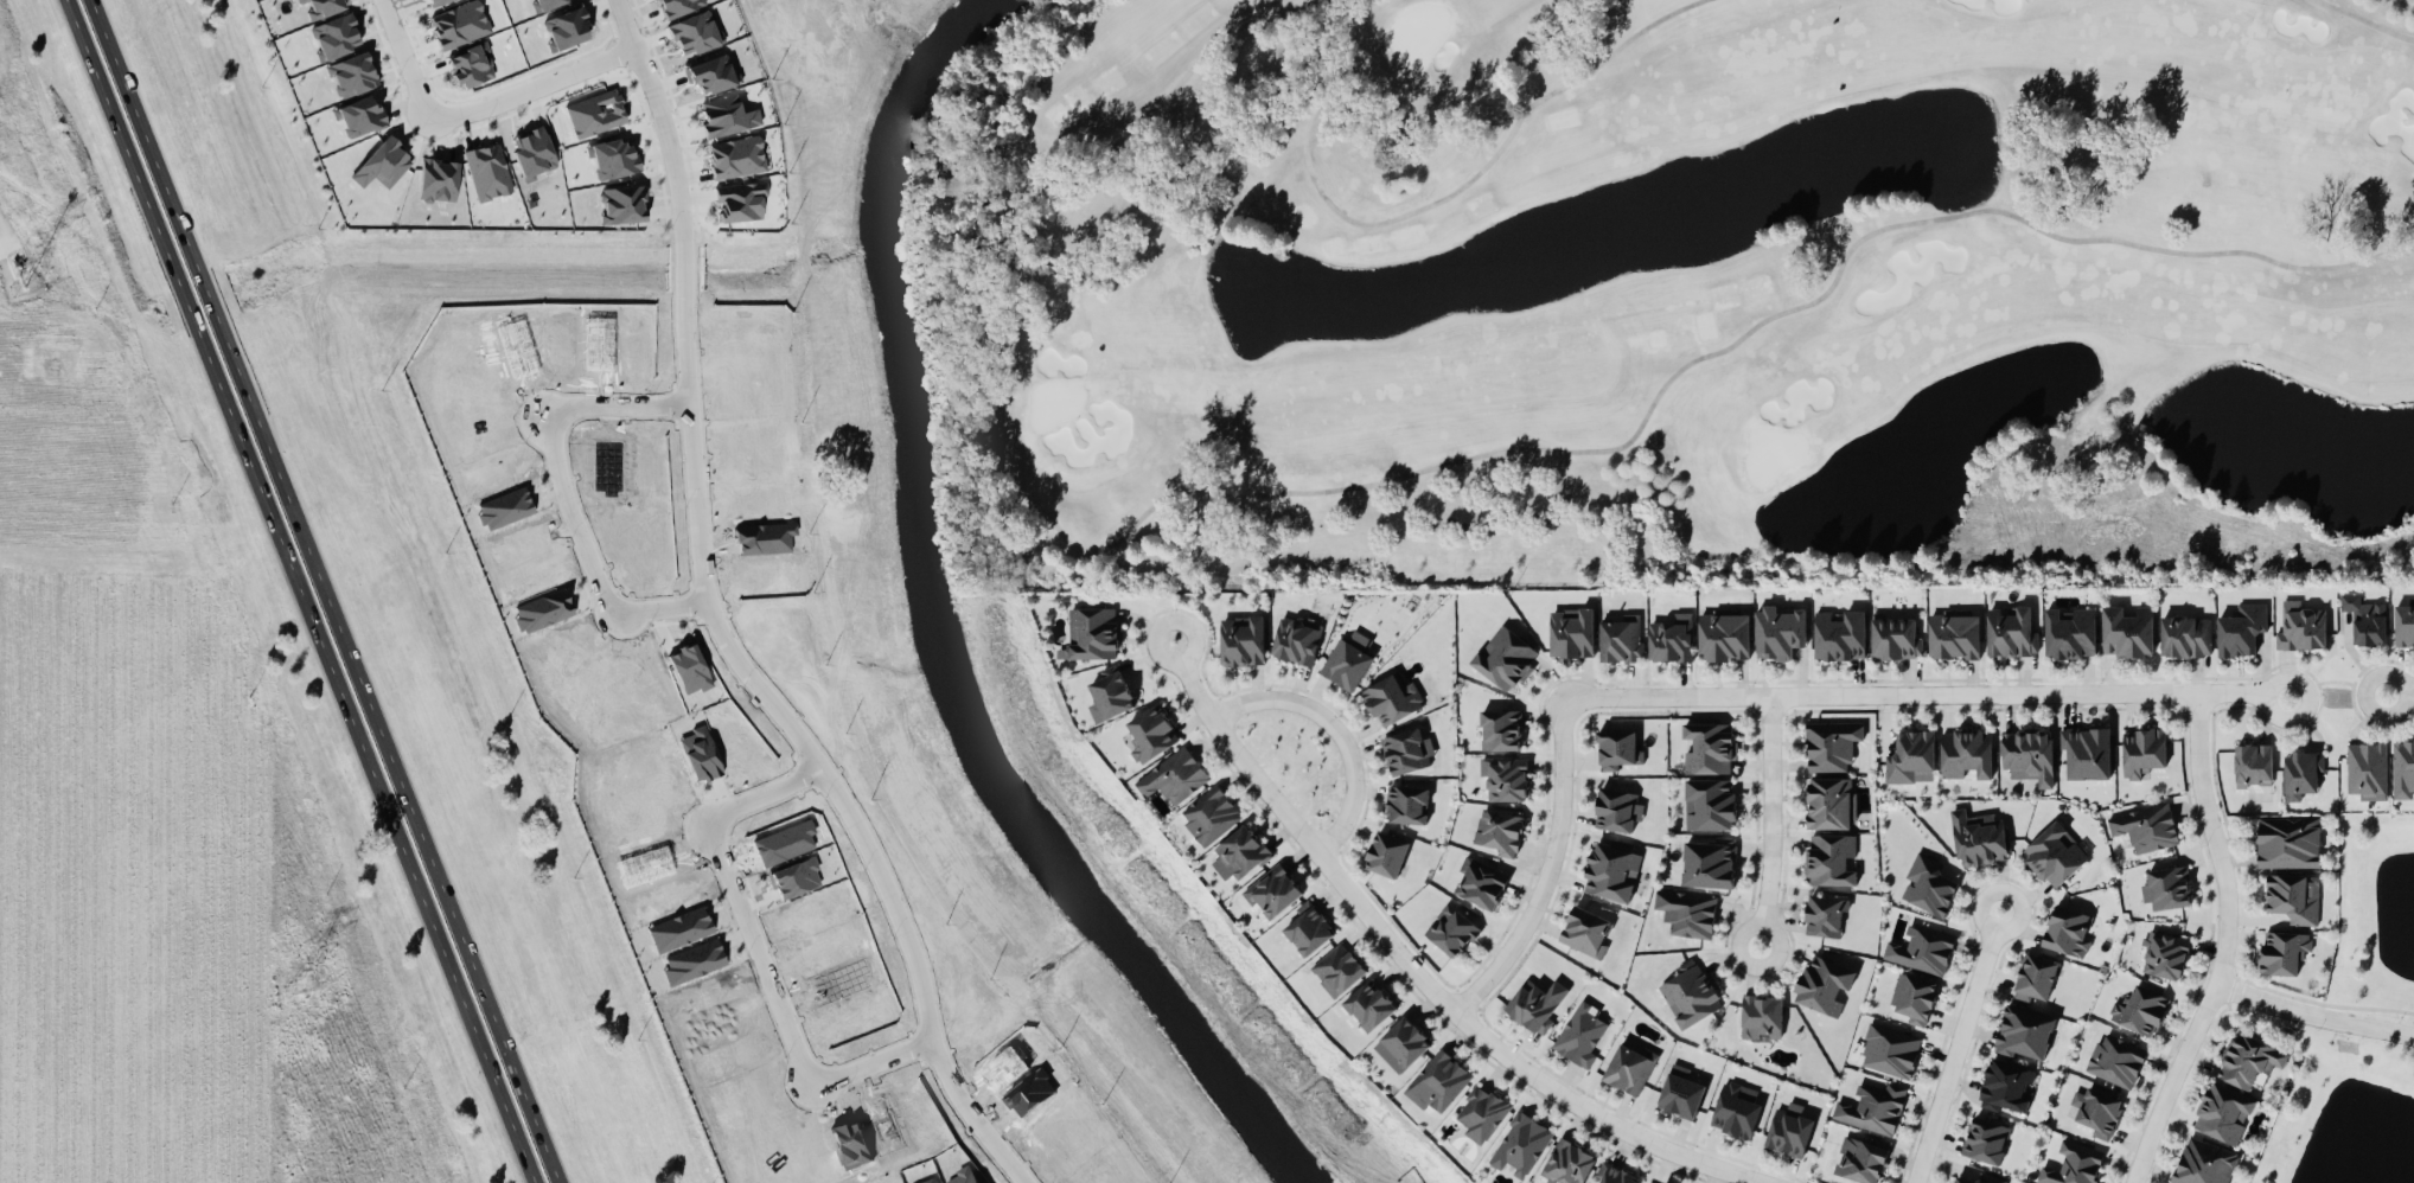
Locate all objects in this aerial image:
building: (434, 1)
building: (545, 2)
building: (321, 6)
building: (676, 6)
building: (458, 23)
building: (692, 32)
building: (334, 34)
building: (470, 64)
building: (710, 72)
building: (351, 73)
crop: (12, 88)
road: (477, 108)
building: (594, 113)
building: (357, 114)
building: (531, 152)
building: (735, 155)
building: (487, 170)
building: (436, 179)
building: (739, 199)
building: (620, 203)
power tower: (21, 284)
park: (1679, 294)
road: (568, 494)
road: (305, 591)
road: (328, 591)
building: (2363, 619)
building: (2403, 625)
road: (719, 627)
building: (2300, 627)
river: (940, 628)
building: (1778, 628)
building: (2240, 628)
building: (2011, 629)
building: (2069, 631)
building: (2126, 631)
building: (1092, 632)
building: (1571, 632)
building: (1723, 633)
building: (1839, 633)
building: (1953, 633)
building: (2184, 634)
building: (1621, 635)
building: (1895, 635)
building: (1296, 638)
building: (1671, 638)
building: (1243, 639)
road: (1154, 642)
building: (1505, 657)
building: (1346, 661)
road: (2335, 678)
road: (2399, 690)
building: (1111, 691)
road: (1924, 695)
building: (1391, 698)
building: (1500, 728)
road: (1330, 730)
building: (1151, 731)
building: (1831, 743)
building: (1707, 746)
building: (1616, 747)
building: (2141, 748)
building: (1406, 749)
building: (2086, 750)
building: (1965, 752)
building: (2029, 753)
building: (1910, 755)
building: (2252, 763)
building: (2365, 766)
building: (2402, 768)
building: (2300, 769)
building: (1173, 775)
building: (1505, 775)
building: (1828, 801)
building: (1406, 802)
building: (1710, 802)
building: (1617, 808)
building: (1209, 813)
road: (1770, 821)
building: (2145, 826)
building: (1499, 830)
crop: (164, 835)
building: (1979, 837)
building: (2287, 840)
building: (1241, 849)
building: (1386, 852)
building: (2054, 853)
building: (1828, 857)
building: (1709, 862)
road: (1547, 868)
building: (1611, 870)
building: (1480, 881)
building: (1927, 884)
building: (2167, 885)
building: (1273, 889)
building: (2293, 895)
building: (1686, 912)
building: (1825, 914)
building: (1307, 927)
building: (1451, 929)
building: (1585, 929)
building: (2068, 929)
road: (2220, 945)
building: (1921, 948)
building: (2281, 951)
road: (755, 953)
building: (2164, 953)
building: (1337, 968)
building: (2033, 977)
road: (1424, 980)
building: (1822, 983)
power tower: (296, 985)
building: (1690, 992)
building: (1915, 998)
building: (1368, 1003)
building: (1535, 1003)
building: (2139, 1009)
road: (2313, 1013)
building: (1761, 1016)
building: (1582, 1031)
building: (2023, 1031)
building: (1406, 1038)
road: (1955, 1048)
building: (1889, 1049)
building: (2115, 1059)
building: (2248, 1059)
building: (1629, 1066)
building: (1439, 1079)
building: (2005, 1085)
building: (1679, 1091)
building: (1871, 1106)
building: (1733, 1110)
building: (1482, 1111)
building: (2222, 1111)
building: (2097, 1112)
building: (1788, 1131)
building: (1985, 1138)
building: (1520, 1143)
road: (1132, 1145)
building: (1860, 1157)
building: (1566, 1162)
building: (2202, 1162)
building: (2073, 1164)
building: (1614, 1174)
building: (1980, 1178)
building: (1649, 1182)

